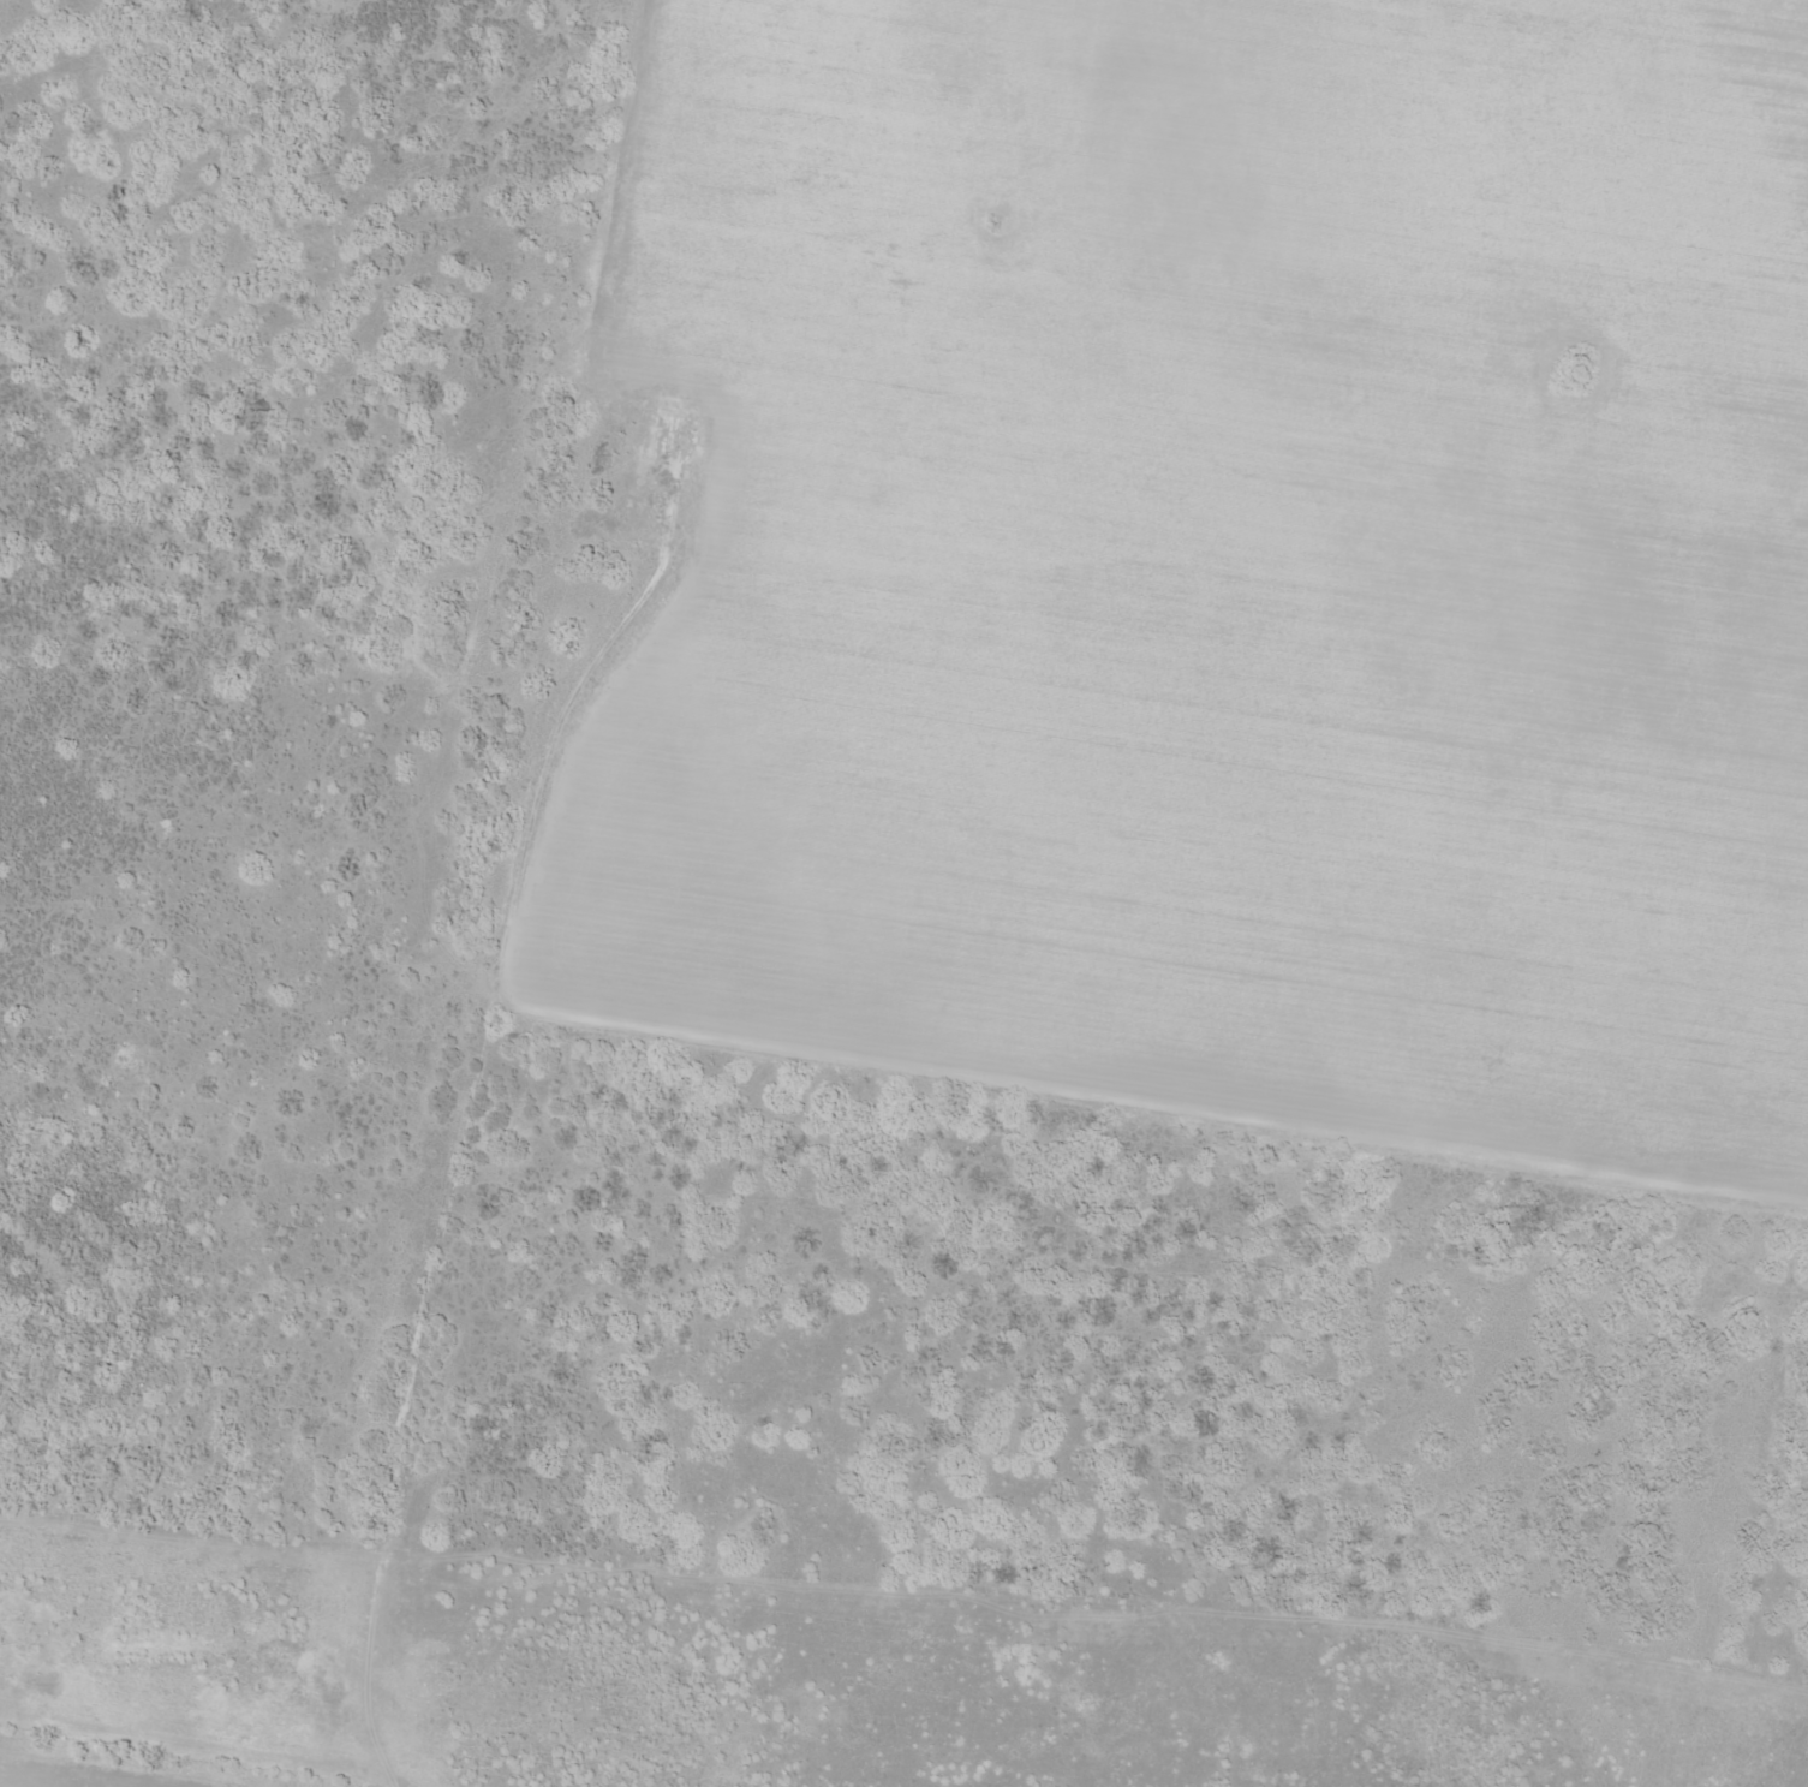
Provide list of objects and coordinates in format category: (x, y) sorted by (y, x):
road: (1158, 264)
road: (740, 1073)
road: (171, 1712)

